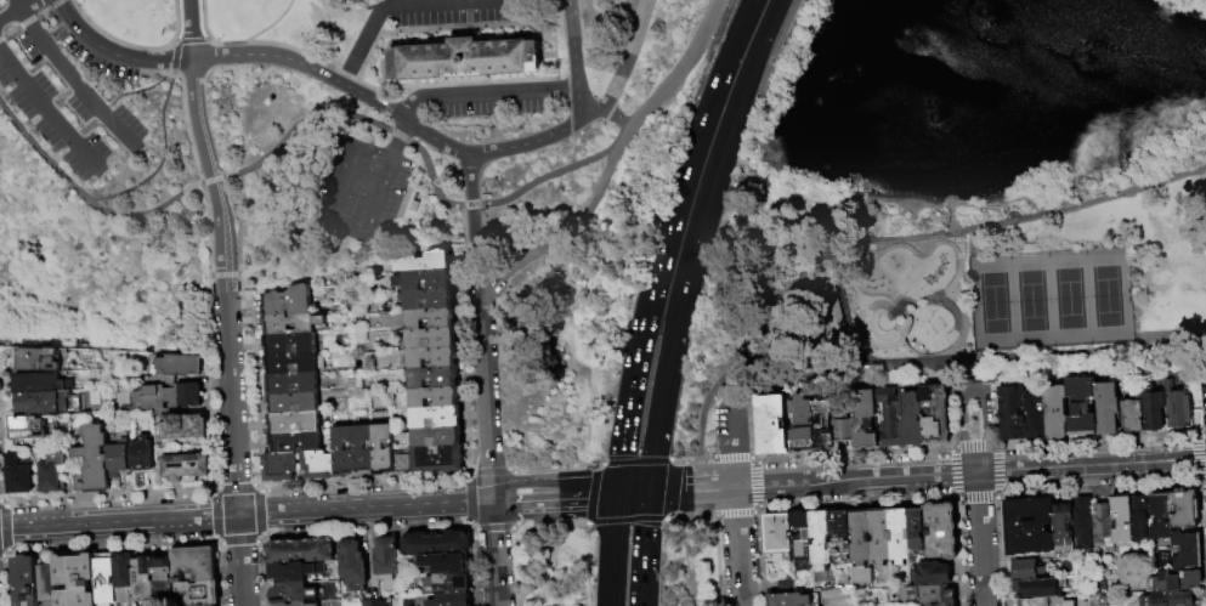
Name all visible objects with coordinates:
road: (645, 0)
road: (469, 1)
road: (451, 2)
road: (18, 10)
parking lot: (447, 12)
road: (30, 19)
road: (189, 29)
road: (437, 29)
road: (268, 30)
road: (553, 35)
road: (191, 40)
road: (362, 44)
road: (572, 44)
road: (136, 46)
road: (285, 46)
road: (175, 52)
road: (113, 53)
road: (549, 56)
building: (465, 60)
road: (725, 63)
road: (302, 66)
road: (623, 67)
road: (70, 79)
road: (441, 85)
road: (742, 86)
parking lot: (62, 90)
road: (559, 90)
road: (485, 94)
road: (121, 95)
parking lot: (486, 100)
road: (413, 102)
road: (578, 104)
road: (49, 113)
park: (508, 125)
road: (621, 136)
road: (435, 140)
road: (397, 141)
road: (526, 145)
road: (163, 153)
road: (237, 172)
road: (210, 176)
road: (220, 179)
road: (470, 180)
parking lot: (357, 191)
road: (998, 205)
road: (584, 213)
road: (323, 221)
road: (471, 225)
road: (893, 239)
building: (425, 261)
building: (424, 279)
park: (917, 285)
road: (951, 298)
building: (428, 299)
road: (471, 299)
park: (1049, 299)
building: (287, 301)
building: (831, 306)
road: (645, 308)
road: (842, 316)
building: (429, 318)
building: (290, 323)
road: (672, 332)
building: (430, 339)
road: (463, 339)
park: (562, 341)
building: (288, 344)
road: (1205, 351)
road: (1042, 352)
building: (432, 357)
building: (38, 361)
building: (289, 363)
building: (179, 367)
road: (941, 370)
road: (485, 373)
road: (1199, 374)
building: (432, 376)
road: (798, 378)
road: (986, 381)
building: (44, 384)
building: (290, 384)
road: (949, 384)
road: (972, 393)
building: (434, 396)
building: (165, 397)
building: (43, 403)
building: (291, 403)
road: (1193, 404)
building: (1153, 406)
building: (1081, 408)
building: (1106, 408)
building: (1177, 408)
road: (993, 412)
building: (1054, 413)
building: (1012, 414)
building: (435, 415)
building: (935, 415)
building: (1132, 415)
building: (1034, 417)
building: (889, 418)
building: (864, 420)
building: (911, 421)
building: (293, 423)
road: (751, 424)
building: (771, 426)
building: (802, 426)
building: (822, 426)
building: (182, 427)
road: (730, 427)
building: (24, 429)
building: (843, 431)
road: (1201, 431)
building: (432, 436)
road: (1095, 438)
building: (293, 442)
road: (995, 443)
road: (973, 444)
road: (953, 446)
road: (233, 449)
building: (380, 449)
building: (361, 451)
road: (950, 451)
building: (341, 452)
road: (883, 453)
road: (752, 457)
road: (729, 458)
building: (436, 459)
road: (704, 459)
road: (634, 460)
road: (672, 460)
road: (686, 460)
building: (92, 461)
building: (141, 461)
building: (118, 463)
building: (400, 464)
building: (317, 465)
road: (553, 465)
building: (278, 466)
road: (594, 466)
road: (1091, 466)
building: (185, 469)
road: (487, 470)
road: (511, 470)
road: (997, 470)
road: (732, 472)
building: (51, 474)
road: (950, 474)
road: (463, 475)
building: (18, 476)
road: (811, 482)
road: (753, 483)
building: (62, 486)
road: (674, 488)
traffic signals: (649, 492)
road: (633, 493)
traffic signals: (617, 494)
road: (589, 495)
road: (998, 495)
road: (513, 497)
road: (953, 498)
road: (975, 498)
road: (463, 502)
road: (755, 510)
building: (1184, 510)
road: (307, 511)
road: (732, 512)
road: (692, 515)
building: (1160, 516)
road: (669, 517)
building: (1122, 519)
building: (1139, 519)
road: (624, 521)
building: (1082, 523)
road: (515, 525)
road: (547, 525)
building: (1102, 526)
road: (469, 527)
building: (1029, 527)
building: (1064, 528)
road: (492, 529)
building: (916, 529)
building: (942, 532)
building: (778, 534)
building: (842, 536)
building: (879, 537)
building: (899, 537)
road: (980, 539)
building: (802, 540)
building: (821, 540)
building: (435, 543)
road: (736, 546)
road: (644, 548)
building: (861, 548)
road: (611, 549)
park: (618, 549)
building: (299, 551)
building: (1185, 551)
road: (494, 553)
road: (715, 559)
road: (685, 560)
building: (443, 561)
building: (385, 562)
building: (193, 563)
building: (351, 566)
road: (514, 567)
building: (1026, 570)
building: (163, 574)
building: (932, 576)
building: (124, 577)
building: (143, 578)
building: (74, 579)
building: (104, 579)
building: (23, 580)
building: (291, 582)
building: (1174, 582)
building: (448, 583)
building: (45, 584)
building: (1036, 589)
building: (199, 593)
building: (929, 595)
building: (1170, 599)
building: (451, 600)
building: (789, 600)
building: (374, 602)
building: (1035, 602)
building: (304, 604)
building: (206, 605)
building: (278, 605)
building: (947, 605)

